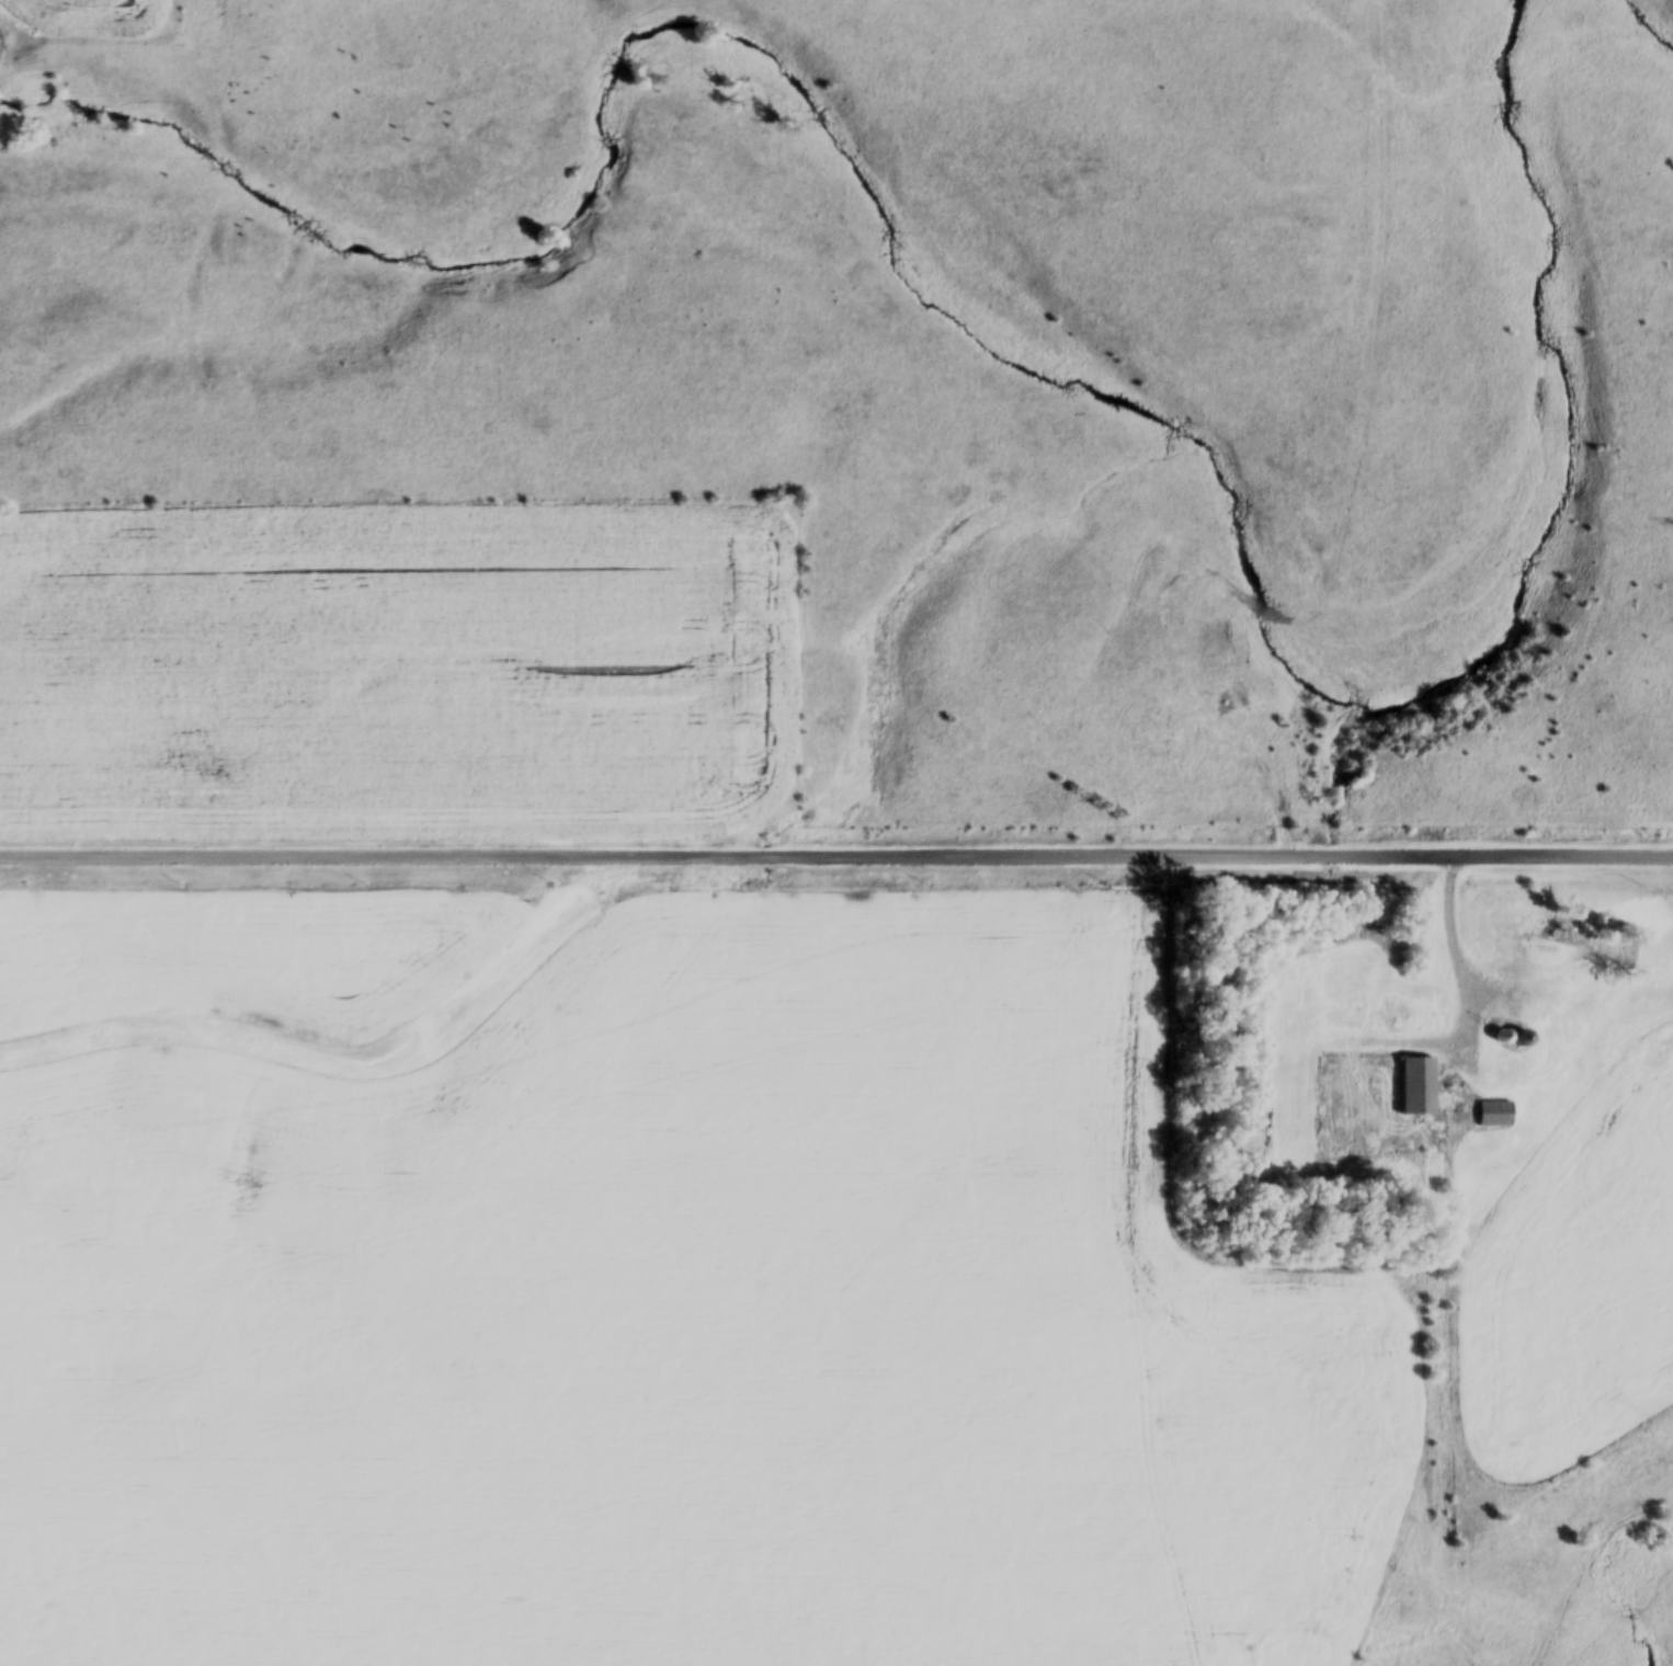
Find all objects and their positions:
road: (836, 851)
road: (1461, 965)
building: (1391, 1016)
building: (1413, 1086)
building: (1492, 1115)

